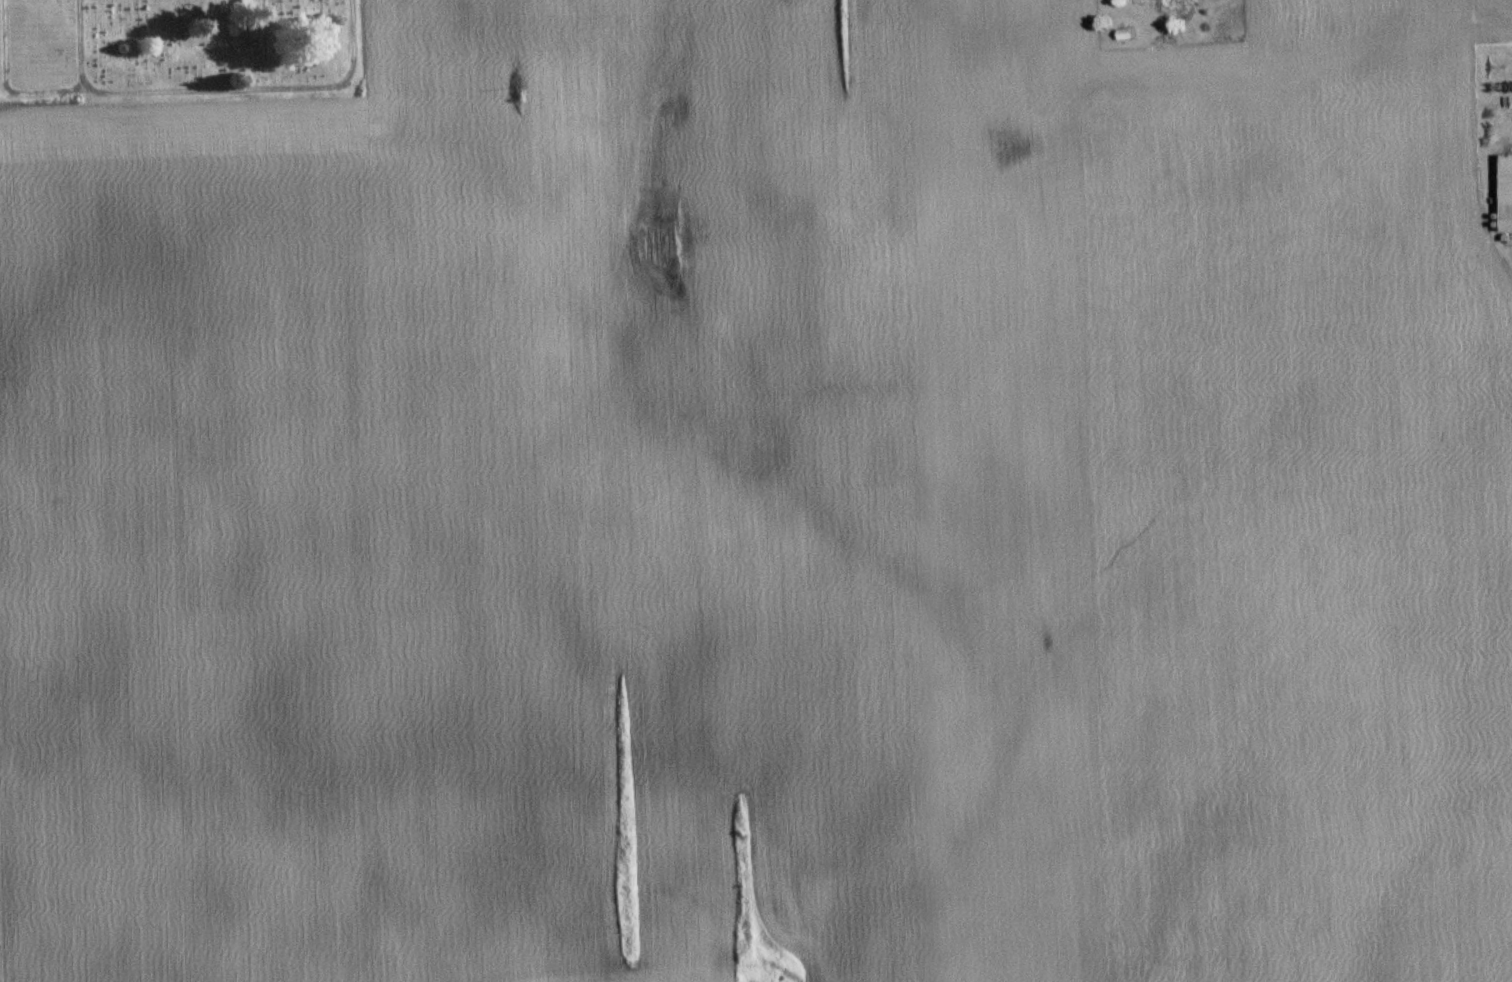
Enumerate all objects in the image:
park: (178, 48)
road: (7, 85)
road: (213, 91)
building: (1509, 190)

